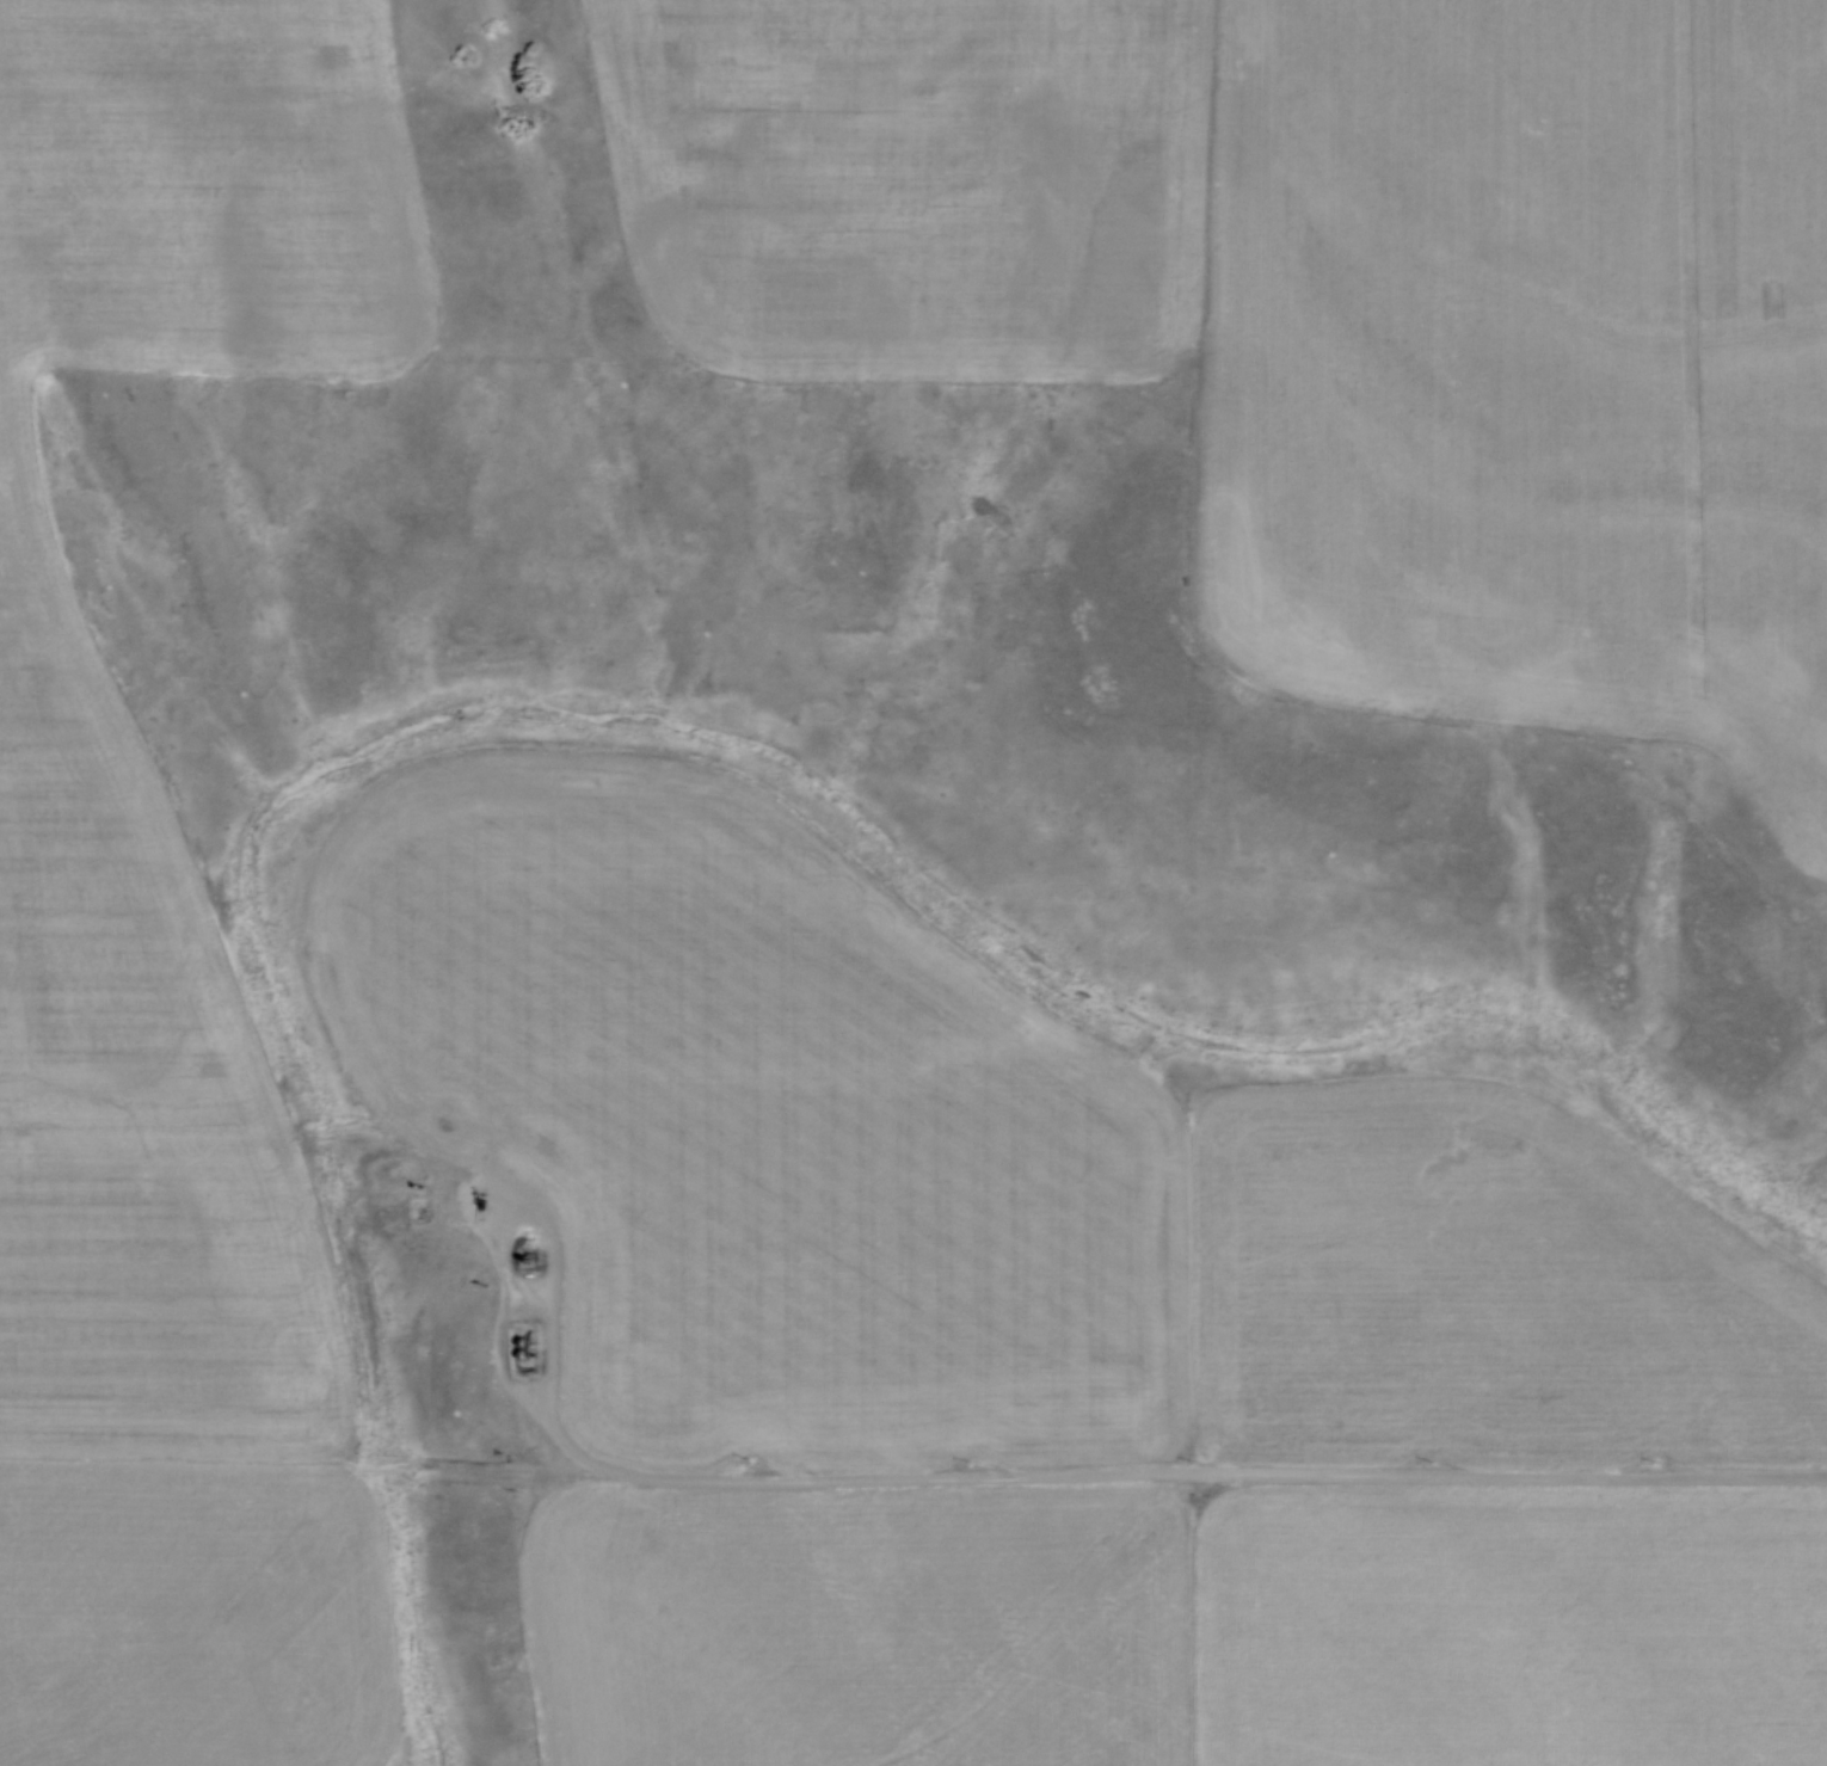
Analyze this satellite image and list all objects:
crop: (1325, 309)
crop: (170, 934)
crop: (992, 1176)
petroleum well: (481, 1190)
road: (549, 1287)
road: (503, 1366)
road: (1231, 1470)
crop: (1183, 1625)

